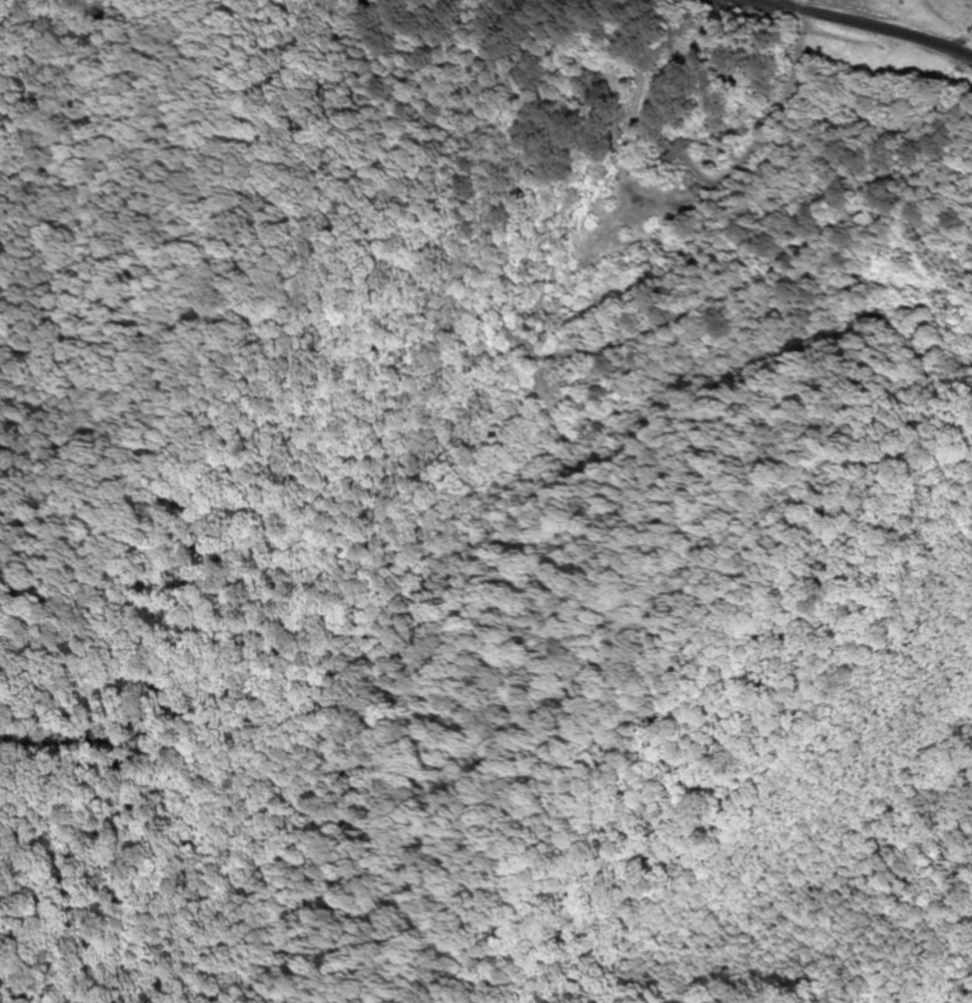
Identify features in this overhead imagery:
road: (870, 20)
railway: (862, 26)
road: (796, 69)
building: (805, 88)
park: (606, 91)

